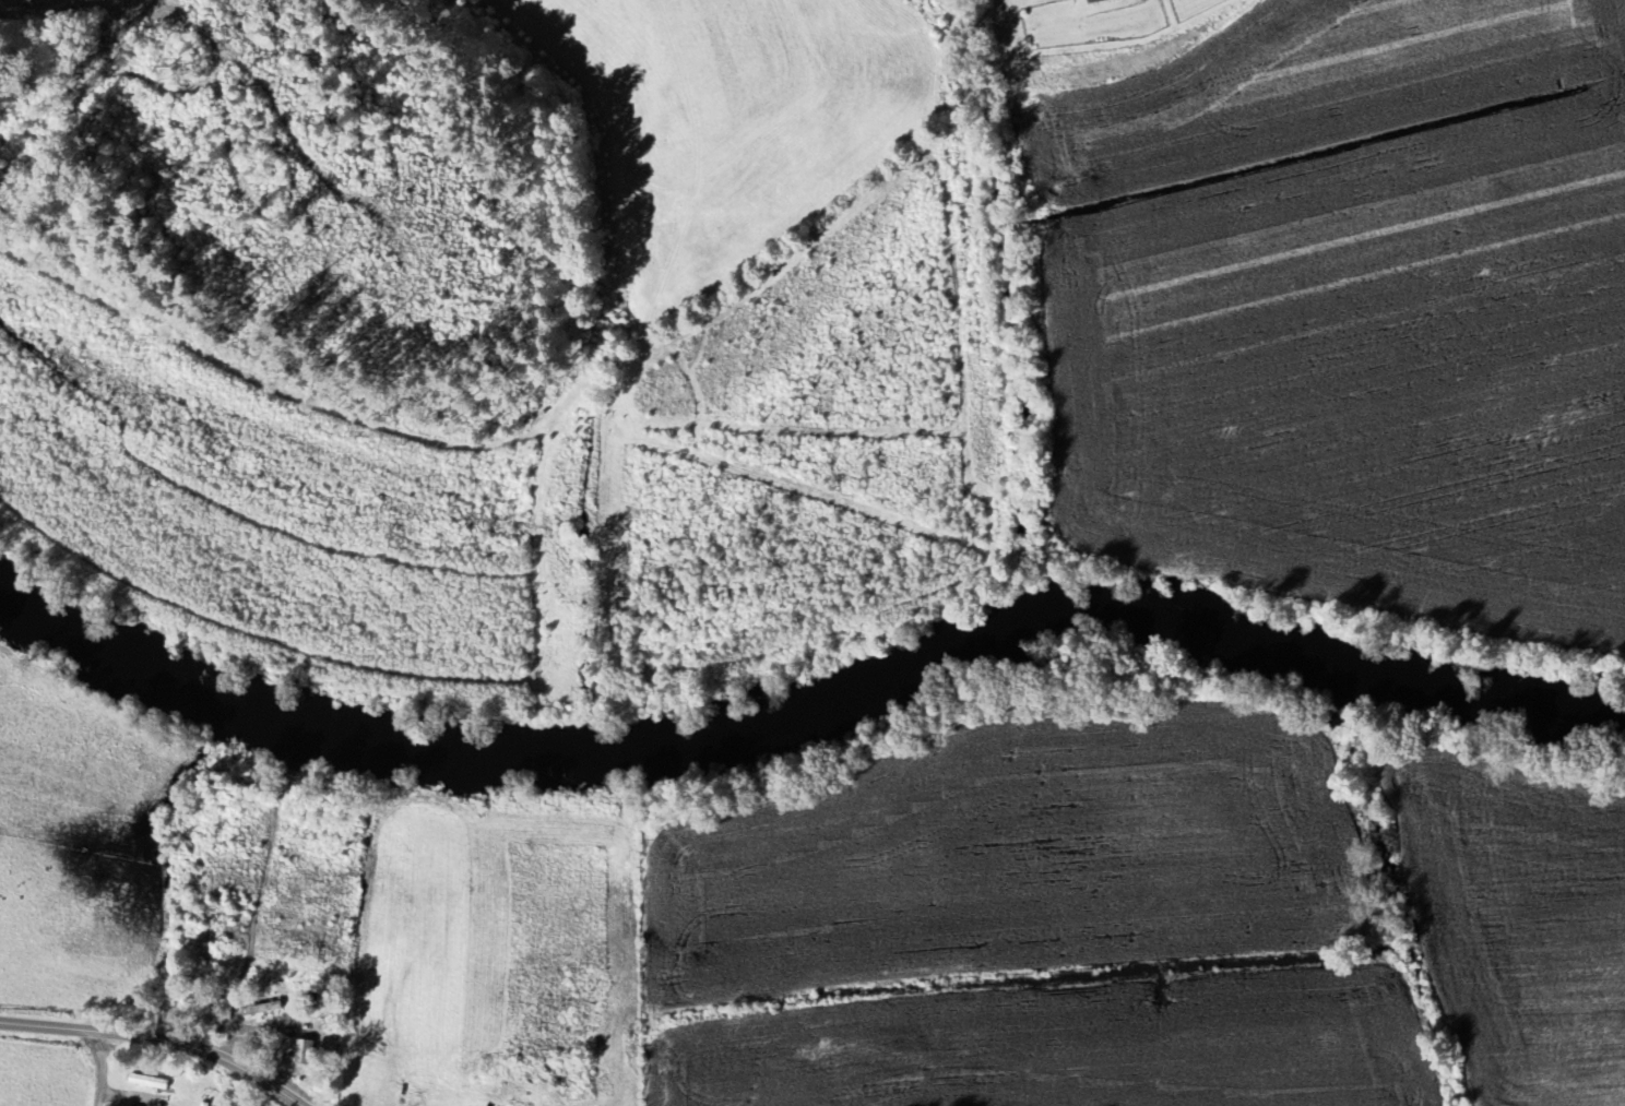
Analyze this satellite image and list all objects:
building: (1098, 1)
river: (1212, 628)
river: (1501, 689)
river: (517, 751)
building: (261, 1009)
road: (253, 1027)
road: (158, 1037)
building: (301, 1051)
road: (102, 1068)

